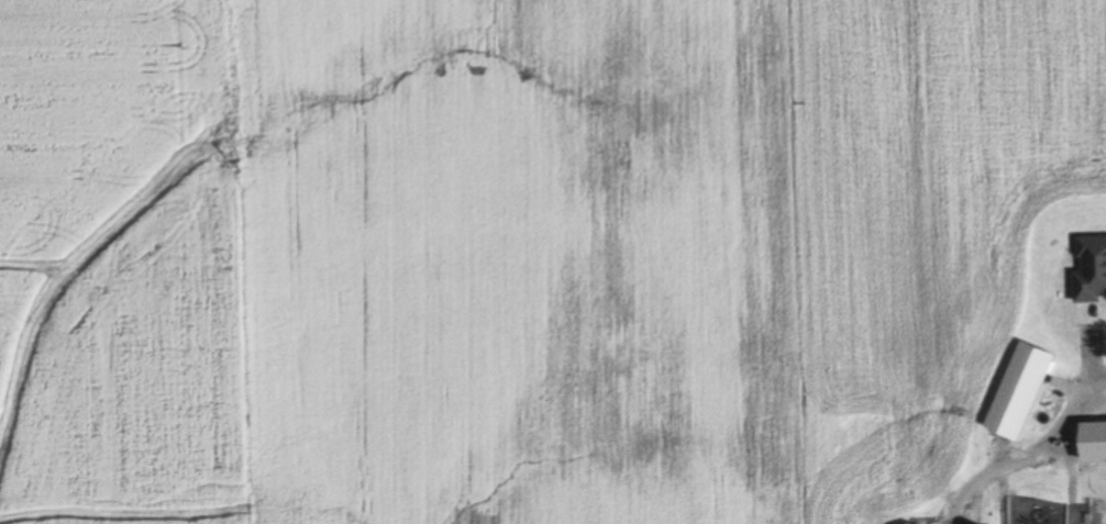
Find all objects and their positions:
building: (1018, 390)
building: (1097, 444)
road: (1024, 454)

